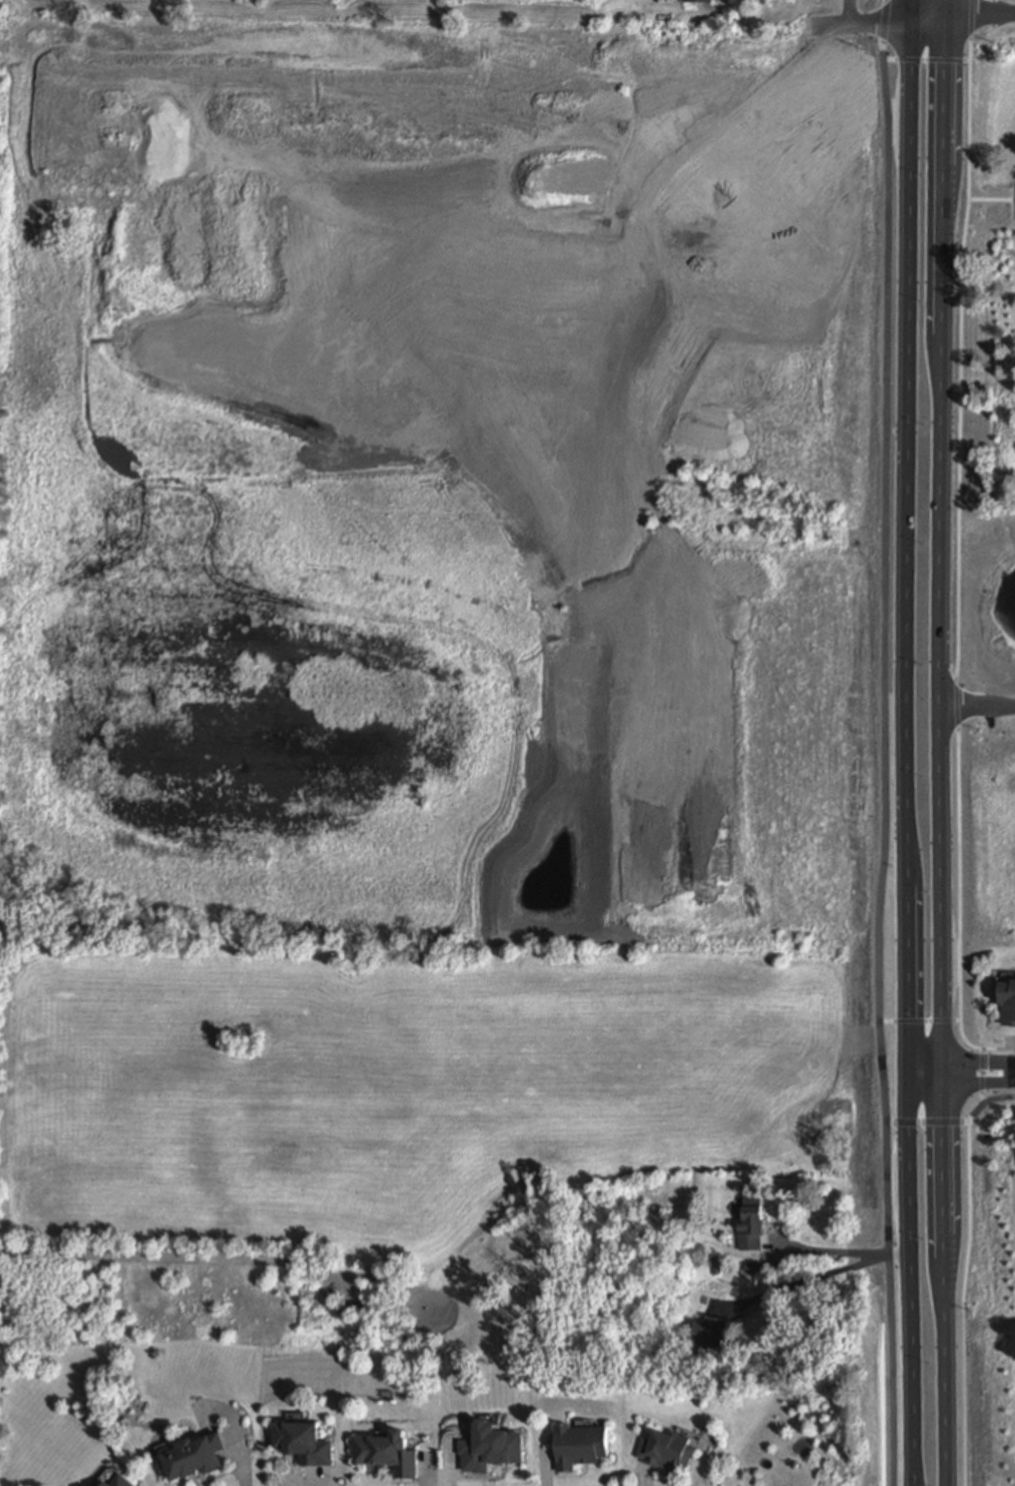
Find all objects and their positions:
building: (698, 1)
road: (836, 6)
road: (473, 9)
road: (980, 14)
road: (474, 22)
road: (927, 62)
building: (840, 75)
building: (838, 118)
building: (676, 147)
road: (991, 200)
road: (959, 530)
crop: (426, 658)
road: (906, 686)
road: (975, 707)
road: (937, 742)
road: (885, 743)
park: (984, 836)
building: (1005, 1000)
road: (919, 1022)
road: (998, 1050)
road: (977, 1063)
road: (925, 1069)
road: (981, 1077)
road: (976, 1082)
road: (927, 1123)
building: (751, 1223)
road: (822, 1250)
building: (715, 1264)
building: (751, 1267)
road: (826, 1272)
road: (964, 1276)
building: (710, 1330)
road: (911, 1429)
building: (306, 1442)
building: (580, 1444)
building: (490, 1447)
building: (668, 1450)
building: (388, 1451)
building: (195, 1454)
building: (119, 1481)

